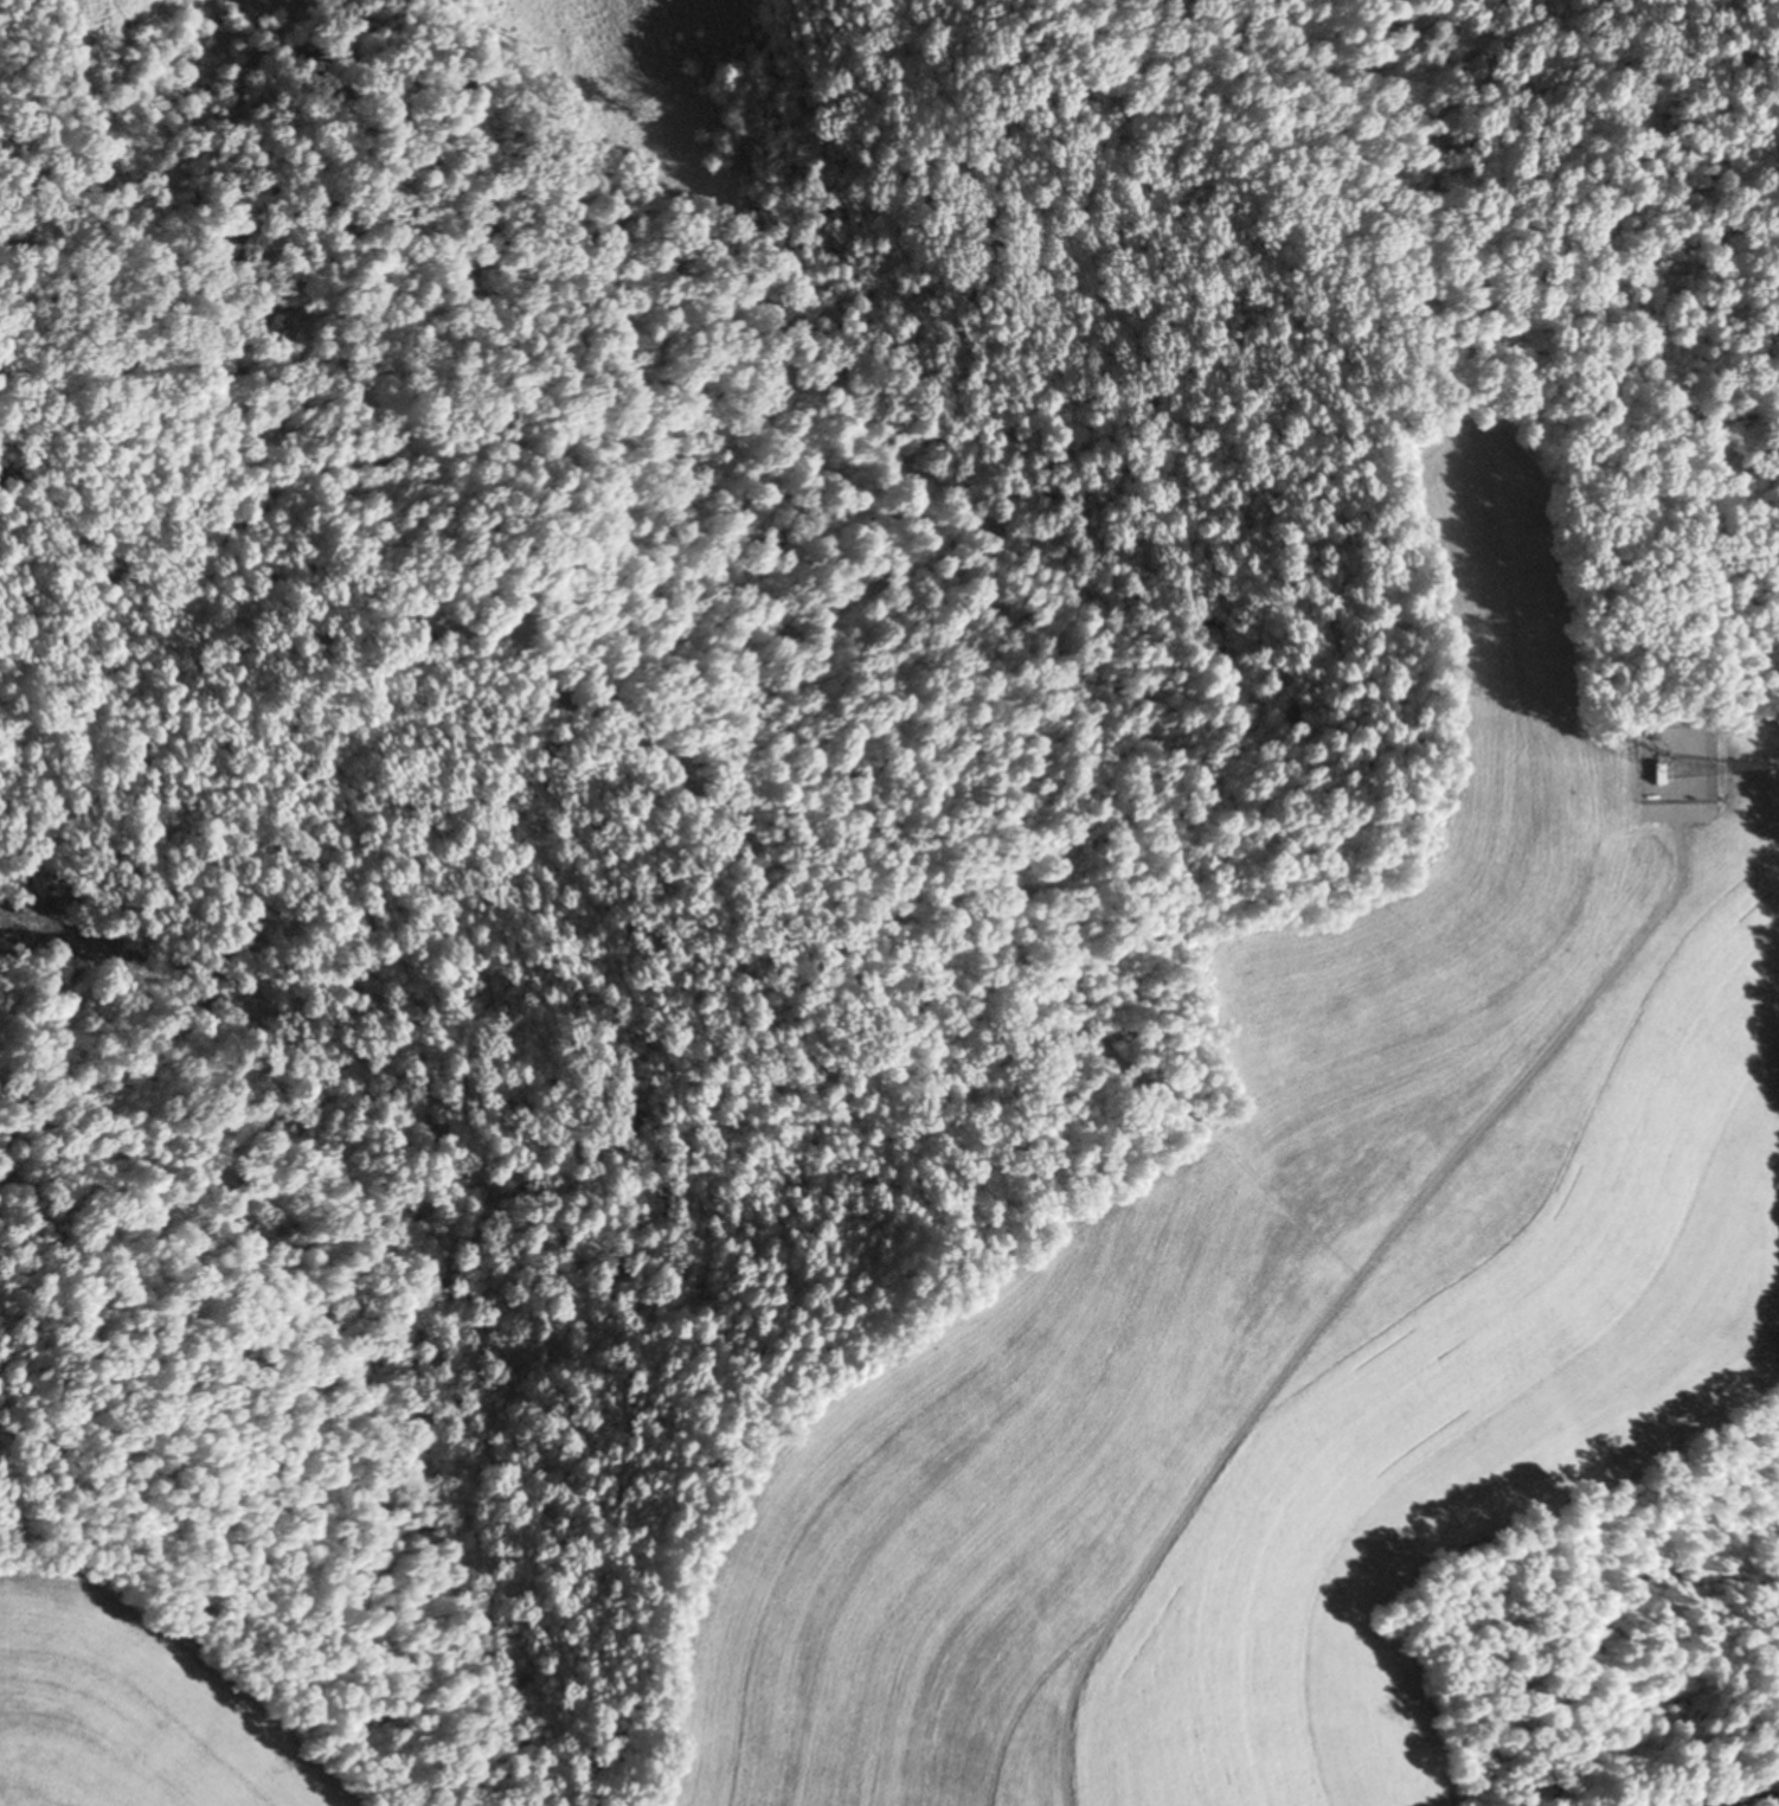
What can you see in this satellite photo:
road: (1755, 1800)

